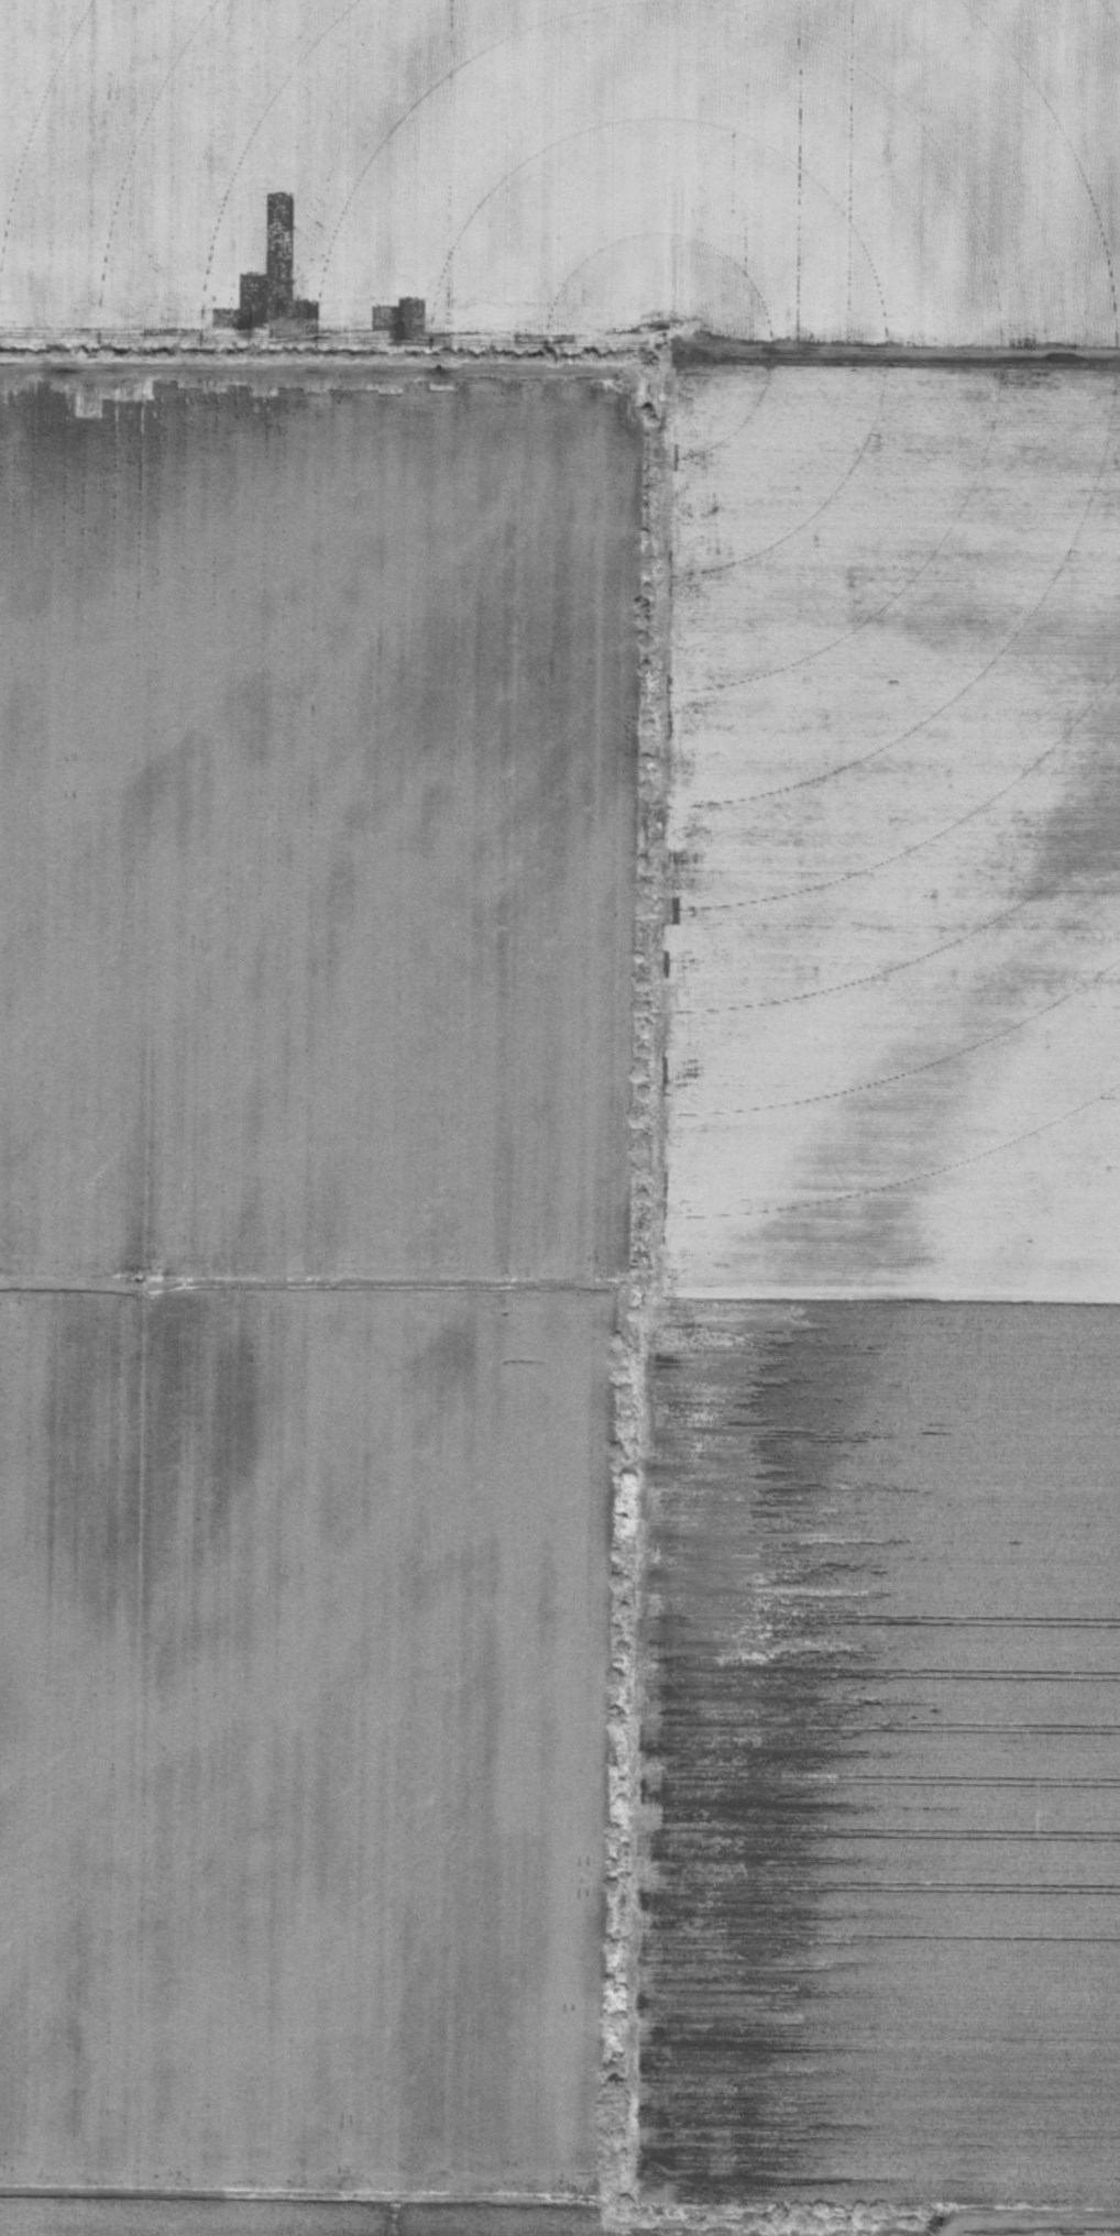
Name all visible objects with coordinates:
road: (900, 346)
road: (289, 1285)

